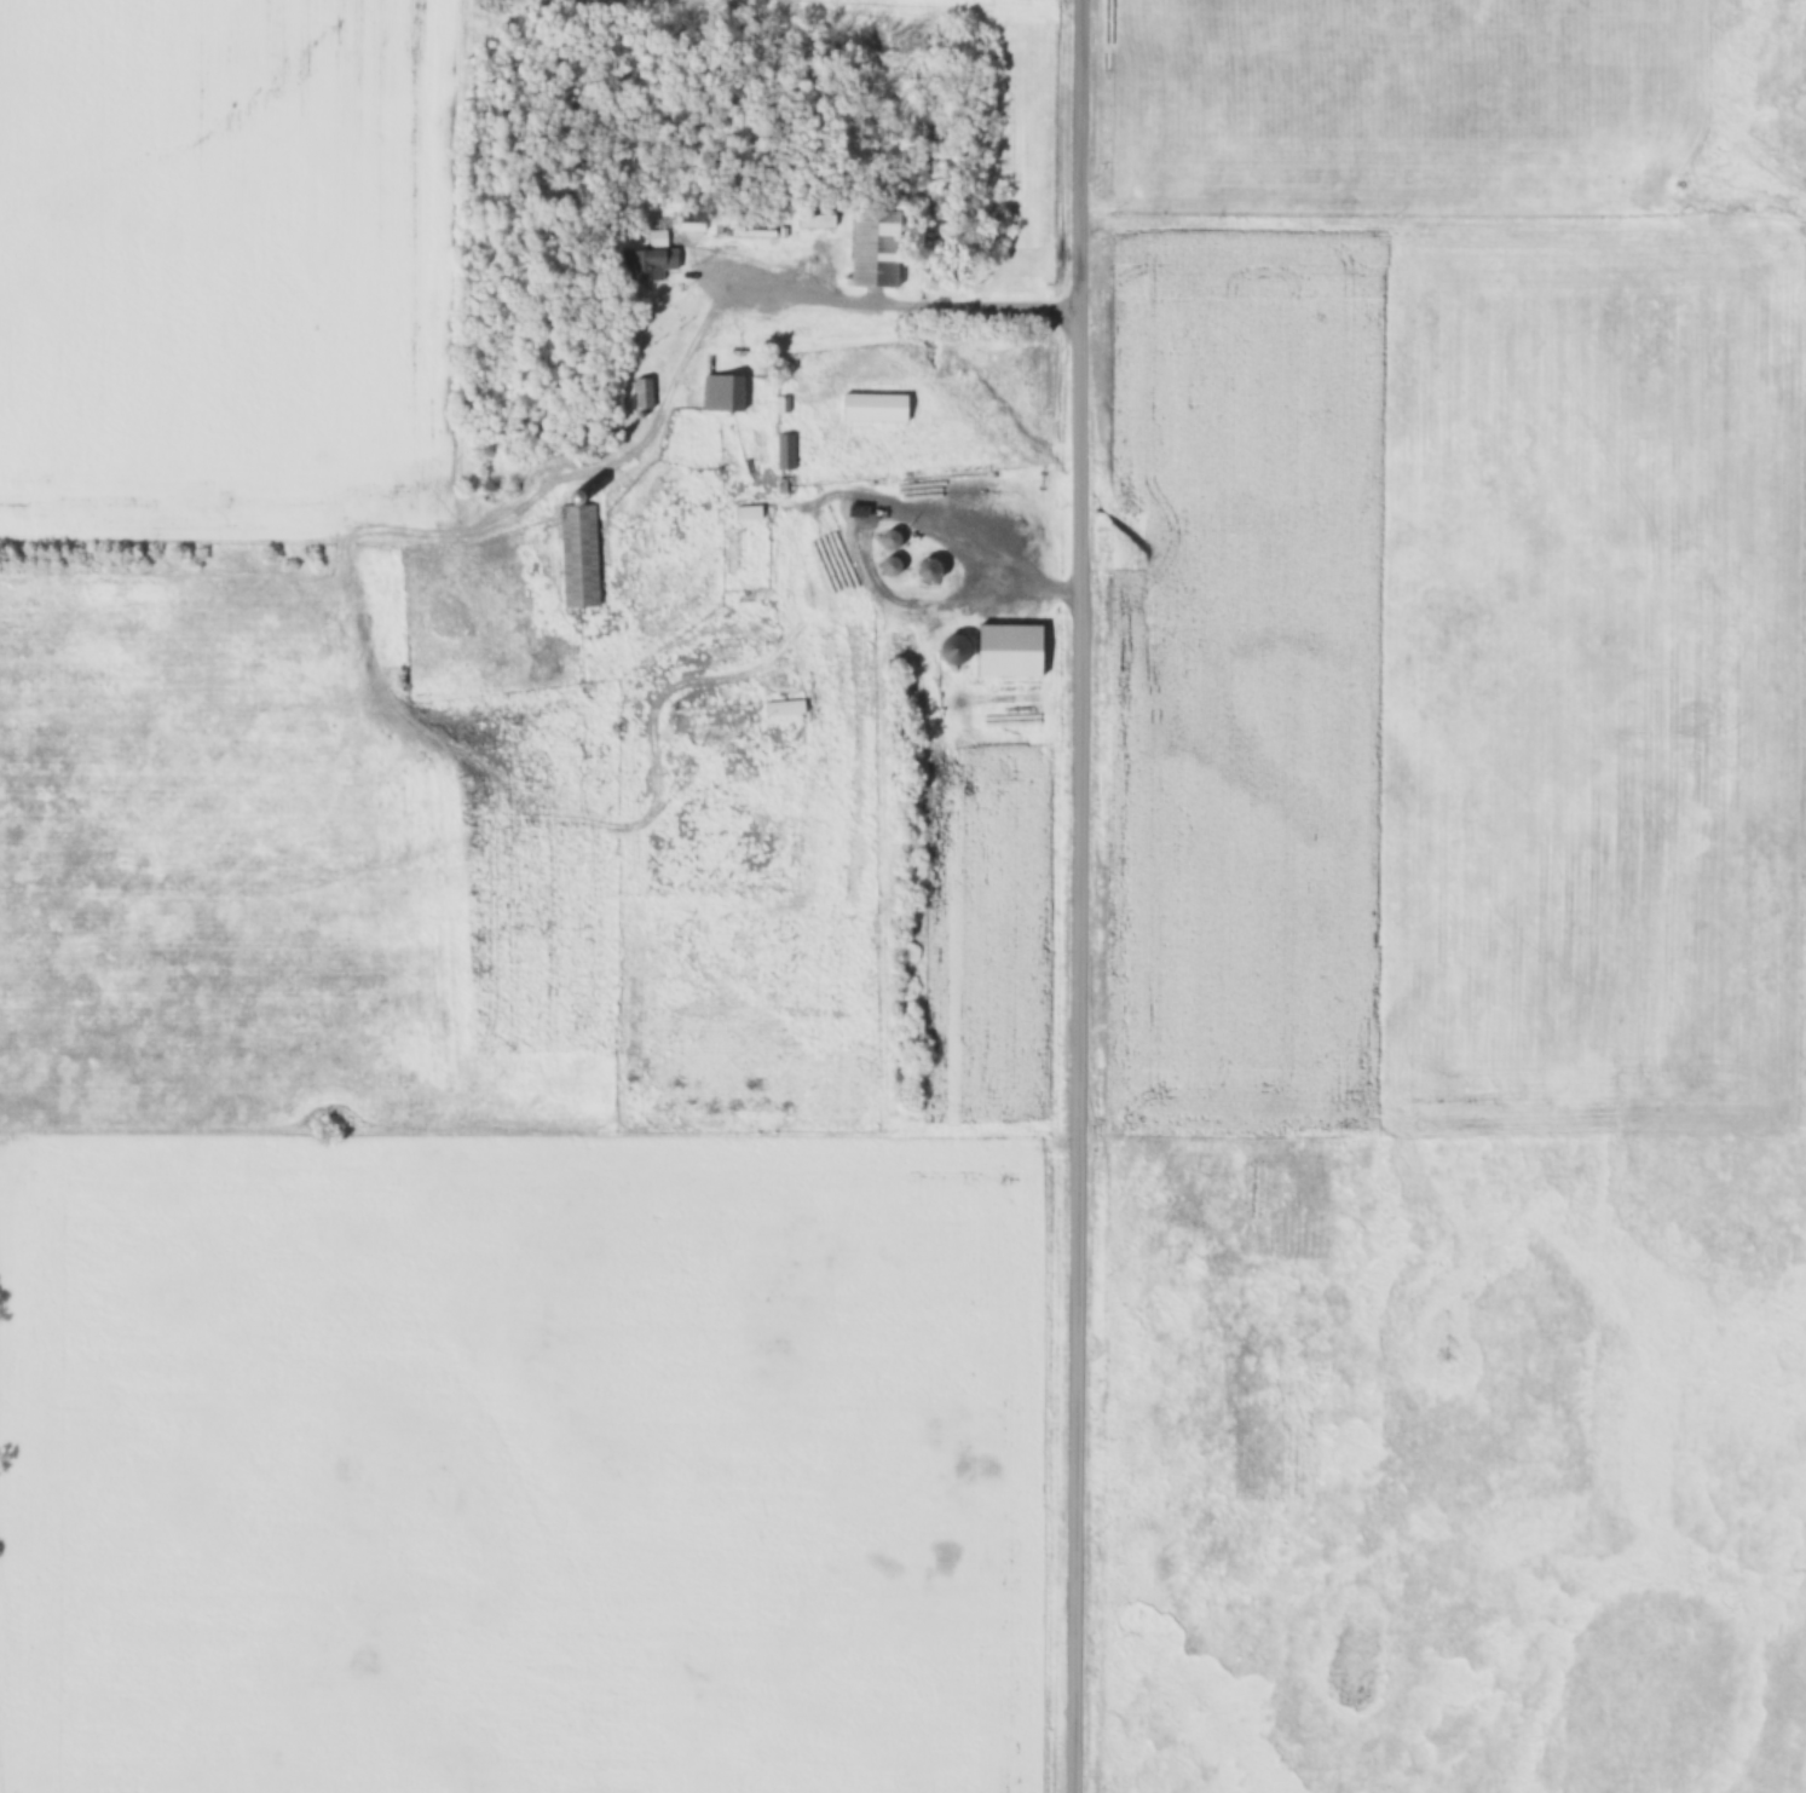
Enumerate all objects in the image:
building: (813, 215)
building: (689, 221)
building: (746, 229)
building: (872, 248)
building: (645, 260)
road: (896, 302)
building: (642, 392)
building: (722, 392)
building: (872, 407)
building: (785, 451)
building: (746, 512)
building: (888, 538)
building: (577, 555)
building: (924, 569)
building: (951, 648)
building: (1008, 650)
building: (783, 708)
road: (1078, 896)

